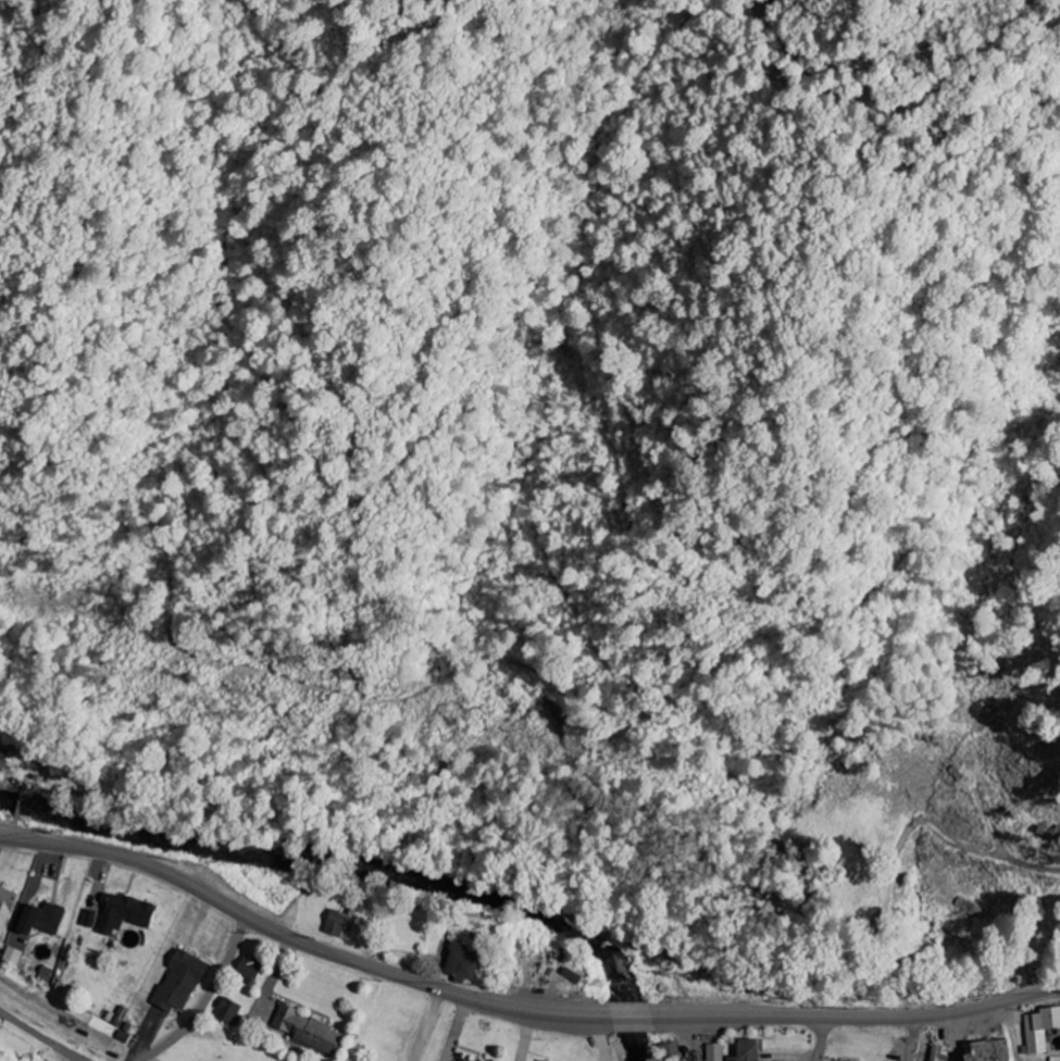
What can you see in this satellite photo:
building: (3, 759)
road: (1018, 862)
park: (857, 881)
building: (5, 908)
building: (125, 913)
building: (41, 919)
building: (10, 957)
building: (462, 962)
building: (249, 969)
building: (179, 982)
road: (204, 999)
road: (516, 1010)
building: (227, 1011)
building: (1040, 1028)
building: (308, 1031)
road: (39, 1037)
road: (823, 1039)
road: (913, 1039)
building: (748, 1050)
building: (671, 1052)
building: (715, 1052)
building: (936, 1052)
building: (461, 1060)

